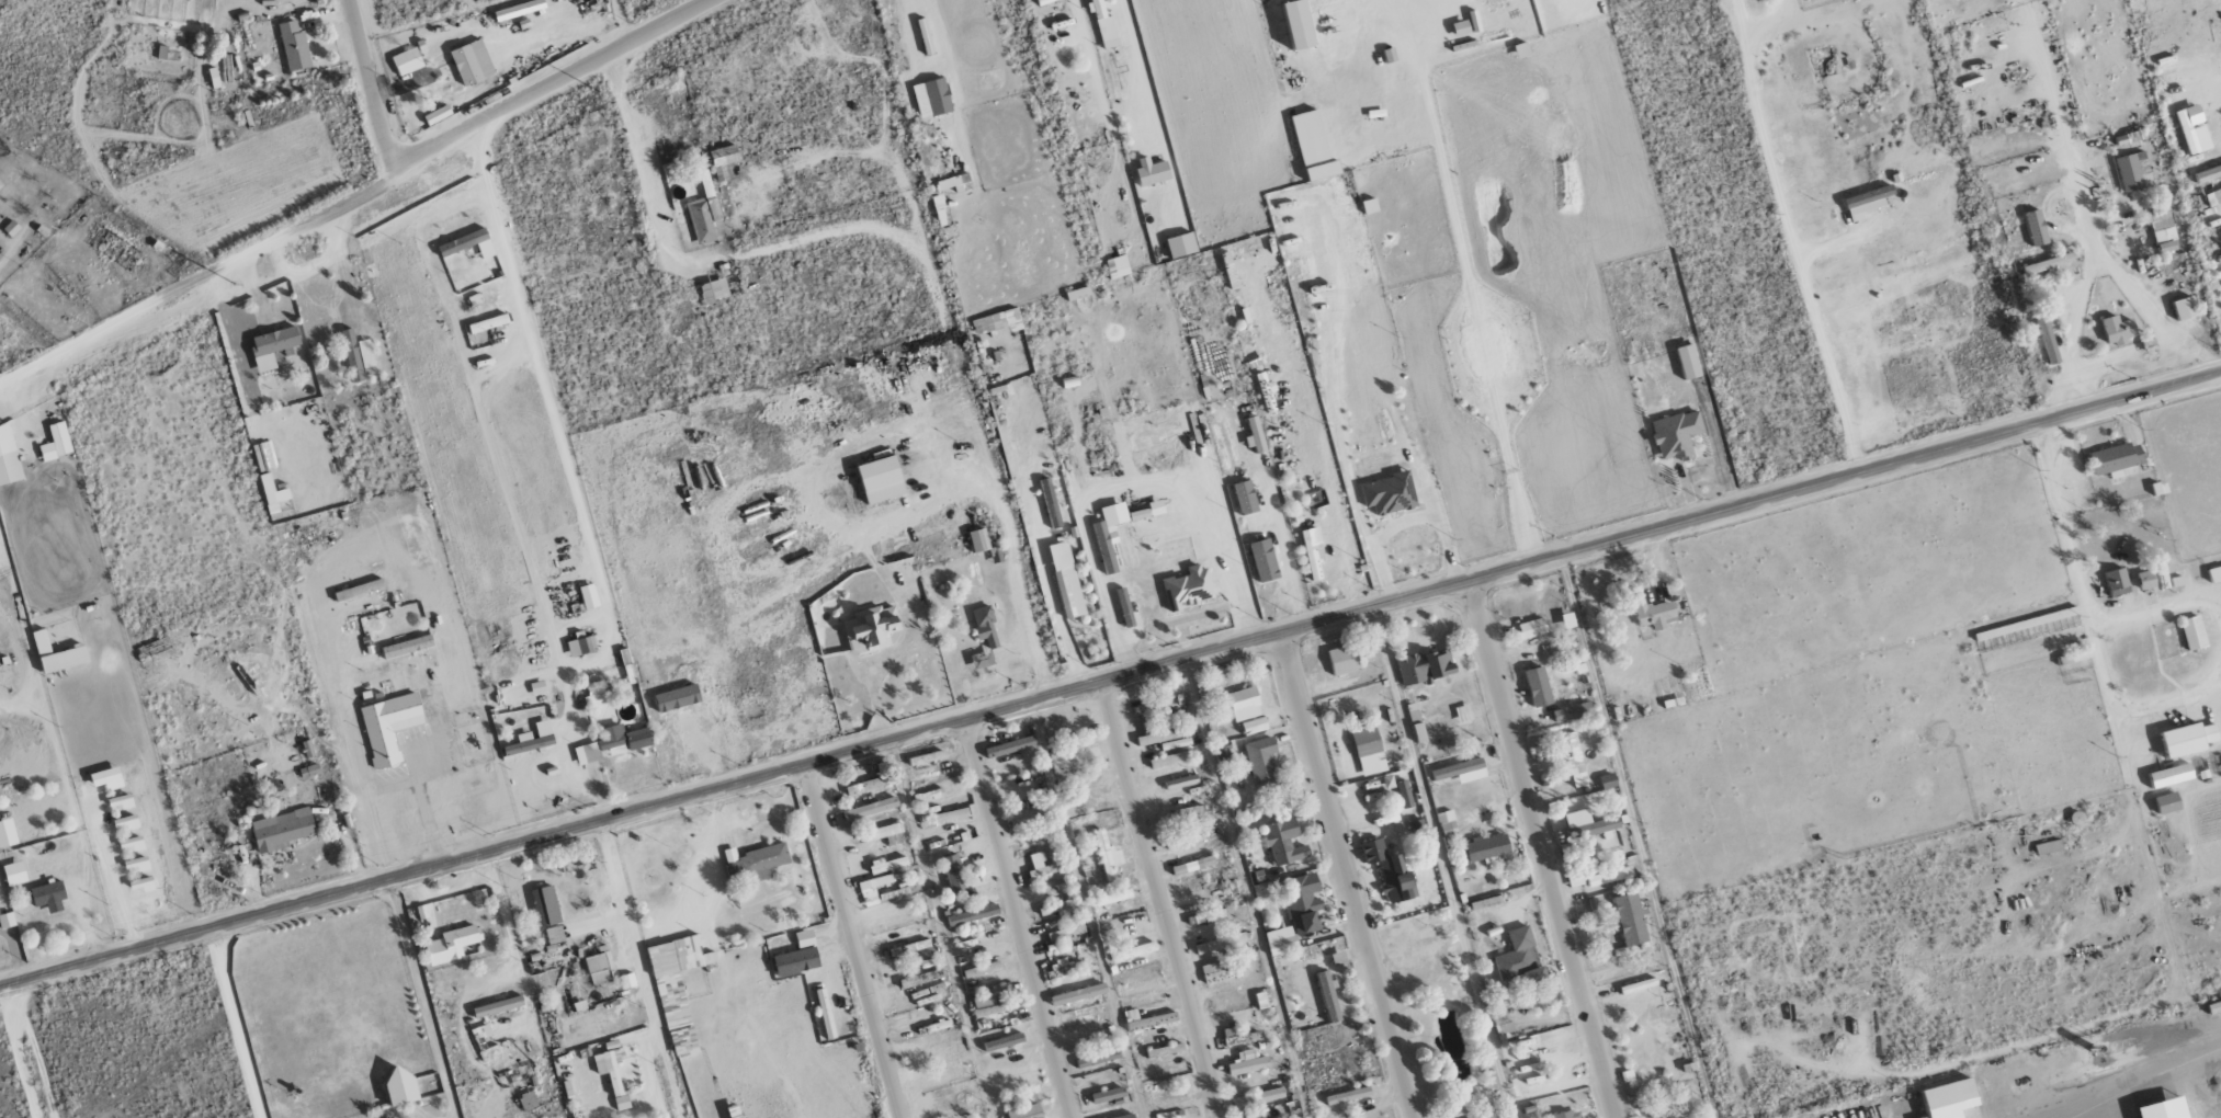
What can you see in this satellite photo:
building: (1043, 1)
building: (518, 9)
building: (1298, 23)
building: (1103, 25)
building: (293, 46)
building: (407, 61)
building: (465, 65)
road: (1098, 81)
building: (444, 82)
road: (370, 84)
building: (931, 96)
road: (884, 105)
building: (437, 114)
building: (2192, 128)
building: (1313, 146)
building: (722, 158)
building: (1151, 171)
building: (2208, 172)
building: (2133, 173)
building: (0, 184)
road: (358, 193)
building: (2212, 196)
building: (937, 202)
building: (1865, 202)
road: (2041, 210)
building: (703, 212)
building: (2036, 227)
road: (1787, 228)
building: (2163, 231)
road: (1121, 233)
building: (467, 244)
building: (1180, 244)
road: (279, 258)
road: (725, 259)
building: (2047, 263)
road: (341, 264)
building: (1117, 266)
road: (280, 274)
building: (713, 290)
road: (223, 297)
building: (2184, 308)
building: (997, 321)
building: (487, 322)
building: (2118, 329)
building: (2047, 338)
building: (271, 346)
building: (356, 356)
building: (1687, 362)
road: (2100, 375)
building: (1255, 434)
building: (1153, 435)
building: (1675, 435)
road: (898, 440)
building: (56, 442)
building: (8, 457)
building: (2116, 457)
building: (880, 479)
road: (1136, 481)
building: (1389, 493)
building: (275, 494)
building: (1244, 497)
building: (1050, 503)
building: (1156, 507)
building: (1138, 514)
road: (1032, 522)
building: (1109, 533)
building: (978, 540)
building: (1312, 554)
building: (1262, 560)
building: (2214, 572)
road: (2071, 574)
building: (1065, 580)
building: (2145, 580)
building: (2116, 582)
building: (1187, 587)
building: (358, 590)
building: (588, 596)
building: (1124, 607)
building: (1653, 614)
road: (1196, 617)
building: (2035, 620)
building: (872, 626)
building: (1531, 627)
building: (2192, 632)
building: (983, 636)
road: (906, 638)
building: (406, 647)
building: (579, 647)
building: (56, 654)
building: (2074, 657)
building: (1344, 659)
building: (1425, 665)
road: (1110, 678)
building: (1537, 686)
building: (594, 696)
building: (677, 698)
building: (1244, 704)
building: (1571, 711)
building: (1463, 712)
building: (1254, 725)
building: (388, 726)
building: (1159, 735)
building: (532, 738)
building: (2187, 739)
building: (1175, 743)
building: (612, 744)
building: (1009, 746)
building: (1367, 750)
building: (926, 757)
building: (1260, 758)
building: (1167, 760)
building: (1574, 760)
road: (362, 767)
building: (1461, 769)
building: (2169, 775)
building: (106, 778)
building: (1607, 779)
road: (392, 786)
building: (1403, 794)
building: (2166, 802)
road: (423, 807)
building: (950, 814)
building: (1446, 823)
building: (1587, 823)
building: (281, 830)
building: (885, 833)
building: (5, 834)
building: (1185, 840)
building: (1283, 841)
building: (1486, 847)
building: (2048, 847)
road: (1541, 848)
building: (1107, 855)
building: (753, 863)
building: (1192, 865)
building: (1041, 866)
building: (1390, 870)
building: (952, 871)
building: (14, 872)
road: (1347, 875)
building: (1608, 876)
building: (872, 888)
building: (48, 897)
building: (1112, 897)
road: (1160, 899)
building: (1301, 902)
building: (544, 905)
building: (1056, 906)
building: (972, 914)
road: (1017, 917)
building: (902, 919)
building: (1629, 919)
building: (7, 921)
road: (628, 929)
road: (852, 940)
building: (1280, 940)
building: (451, 944)
building: (1214, 944)
building: (797, 956)
building: (1519, 959)
building: (599, 968)
building: (1221, 971)
building: (1142, 986)
building: (676, 988)
building: (1077, 994)
building: (1327, 995)
road: (422, 997)
building: (991, 1004)
building: (497, 1006)
building: (1141, 1020)
building: (942, 1024)
building: (1500, 1026)
building: (1234, 1037)
building: (484, 1041)
building: (1001, 1042)
building: (1164, 1050)
road: (25, 1051)
building: (1652, 1051)
building: (1247, 1062)
building: (608, 1069)
building: (947, 1076)
road: (2104, 1082)
building: (400, 1085)
building: (1107, 1095)
building: (1167, 1095)
building: (1347, 1095)
building: (1258, 1097)
building: (1949, 1098)
building: (621, 1103)
building: (2163, 1109)
building: (734, 1111)
building: (1024, 1111)
building: (1567, 1114)
building: (1481, 1117)

